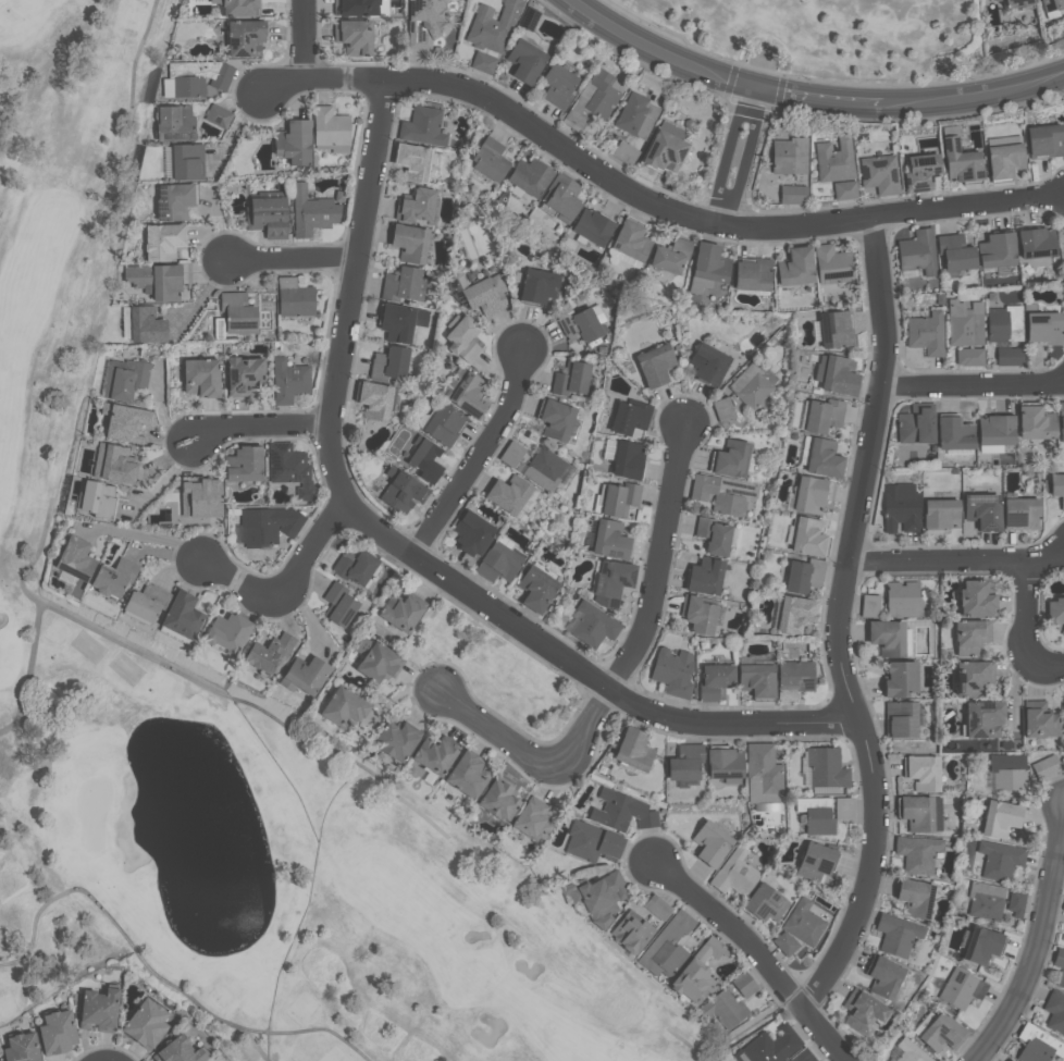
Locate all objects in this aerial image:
building: (995, 0)
building: (1016, 3)
building: (1051, 4)
building: (238, 8)
building: (355, 8)
building: (530, 17)
building: (423, 22)
building: (492, 25)
building: (352, 37)
building: (245, 38)
park: (827, 38)
road: (304, 39)
building: (525, 58)
building: (484, 61)
building: (194, 77)
building: (559, 84)
road: (809, 98)
building: (593, 99)
building: (638, 114)
building: (220, 115)
building: (175, 122)
building: (423, 125)
building: (329, 126)
building: (1046, 138)
building: (1005, 139)
building: (293, 143)
building: (665, 149)
building: (626, 151)
road: (729, 152)
building: (790, 155)
road: (747, 158)
building: (491, 159)
building: (1006, 160)
building: (168, 161)
building: (187, 162)
building: (412, 162)
building: (964, 164)
building: (838, 166)
building: (924, 170)
building: (530, 173)
building: (881, 174)
building: (793, 193)
building: (564, 195)
road: (647, 199)
building: (173, 201)
building: (418, 208)
building: (311, 212)
building: (267, 217)
building: (593, 225)
building: (632, 239)
building: (1038, 242)
building: (162, 243)
building: (408, 244)
building: (998, 249)
building: (918, 251)
building: (957, 251)
building: (671, 255)
road: (292, 257)
building: (833, 262)
building: (796, 266)
building: (707, 267)
building: (753, 273)
building: (154, 281)
building: (401, 285)
building: (537, 285)
building: (485, 295)
building: (294, 298)
building: (237, 313)
building: (964, 321)
building: (395, 323)
building: (1004, 323)
building: (585, 324)
building: (141, 325)
building: (1042, 329)
building: (839, 330)
building: (925, 333)
building: (460, 337)
building: (1010, 355)
building: (970, 356)
building: (389, 363)
building: (708, 363)
building: (654, 366)
building: (244, 374)
building: (839, 377)
building: (200, 378)
building: (123, 379)
building: (570, 379)
building: (288, 381)
road: (974, 381)
building: (750, 385)
building: (468, 395)
building: (375, 402)
building: (822, 415)
building: (629, 418)
building: (555, 420)
building: (1061, 420)
building: (1035, 422)
building: (125, 423)
road: (258, 423)
building: (915, 424)
building: (443, 425)
building: (995, 431)
building: (953, 434)
road: (481, 453)
building: (731, 459)
building: (822, 459)
building: (626, 460)
building: (425, 461)
building: (244, 462)
building: (113, 465)
building: (289, 468)
building: (547, 470)
building: (1056, 489)
building: (400, 492)
building: (723, 493)
building: (808, 495)
building: (200, 496)
building: (511, 496)
building: (618, 499)
building: (97, 501)
building: (901, 508)
building: (981, 511)
building: (940, 514)
building: (1020, 514)
building: (268, 523)
building: (471, 533)
building: (712, 536)
road: (150, 538)
building: (807, 538)
building: (608, 541)
road: (403, 551)
road: (660, 555)
building: (75, 557)
road: (958, 560)
building: (497, 563)
building: (355, 565)
building: (114, 577)
building: (704, 578)
building: (796, 578)
building: (611, 581)
road: (283, 589)
building: (535, 589)
building: (904, 597)
building: (975, 600)
building: (146, 602)
building: (339, 603)
building: (870, 604)
building: (400, 610)
building: (1055, 613)
building: (183, 614)
building: (794, 615)
building: (697, 616)
road: (840, 622)
building: (592, 626)
road: (1028, 626)
building: (227, 632)
building: (968, 637)
building: (886, 638)
building: (270, 653)
building: (379, 663)
park: (494, 670)
building: (672, 671)
building: (795, 676)
building: (304, 677)
building: (899, 679)
building: (972, 679)
building: (756, 681)
building: (715, 682)
building: (343, 707)
park: (220, 708)
building: (902, 719)
building: (981, 719)
building: (1039, 720)
building: (397, 739)
building: (633, 751)
building: (434, 754)
road: (532, 757)
building: (722, 760)
building: (684, 763)
building: (1047, 765)
building: (764, 767)
building: (826, 767)
building: (1009, 770)
building: (921, 773)
building: (467, 774)
building: (498, 800)
building: (844, 806)
building: (621, 812)
building: (916, 813)
building: (817, 814)
building: (532, 817)
building: (999, 818)
building: (591, 841)
building: (710, 846)
building: (917, 853)
building: (999, 860)
building: (815, 861)
building: (734, 874)
building: (599, 898)
building: (914, 898)
building: (986, 900)
building: (1016, 902)
building: (764, 903)
building: (658, 905)
building: (805, 921)
building: (631, 932)
building: (896, 935)
building: (785, 941)
building: (980, 946)
building: (667, 947)
road: (752, 948)
road: (1038, 955)
building: (1059, 966)
building: (696, 972)
building: (883, 978)
building: (745, 983)
building: (961, 989)
building: (98, 1009)
building: (726, 1009)
building: (1054, 1012)
building: (862, 1013)
building: (145, 1023)
building: (57, 1032)
building: (941, 1034)
building: (1037, 1045)
building: (21, 1047)
building: (769, 1047)
building: (178, 1050)
building: (910, 1051)
building: (802, 1057)
building: (1011, 1060)

